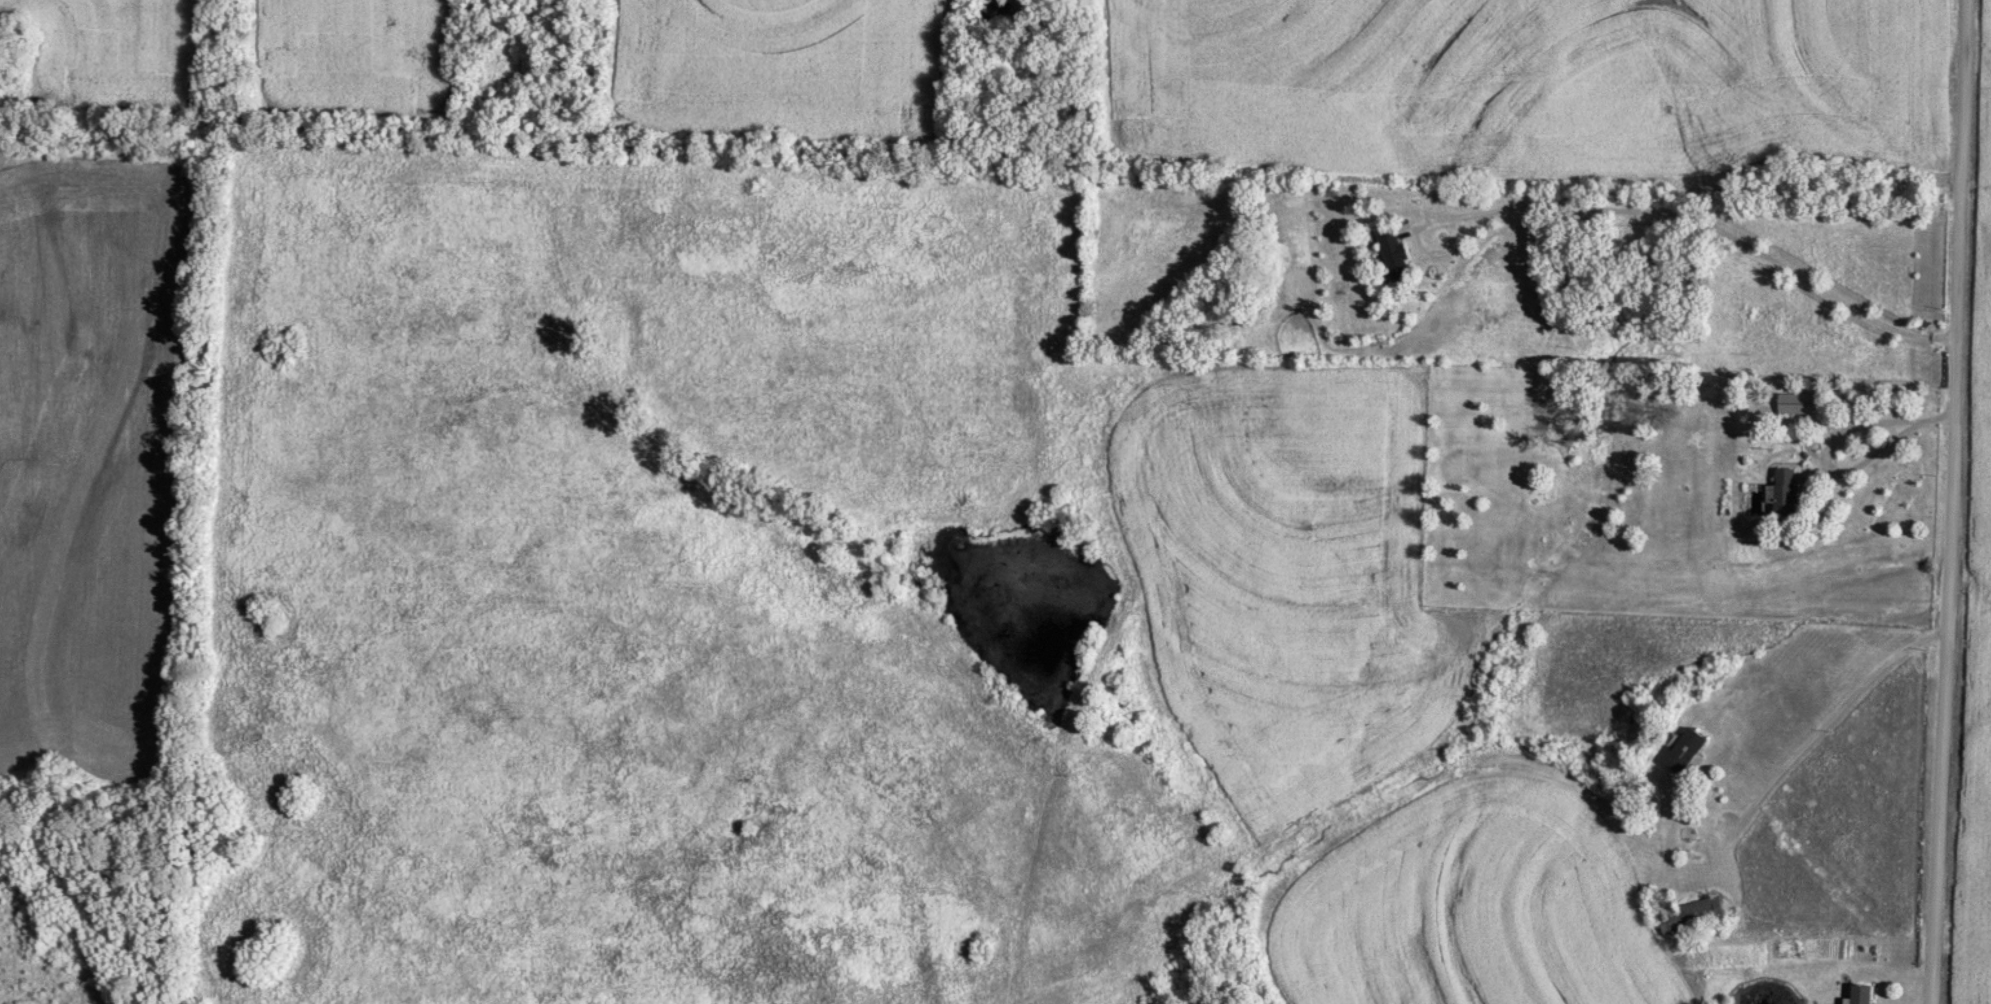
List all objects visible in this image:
road: (1646, 209)
building: (1397, 256)
building: (1796, 404)
road: (1933, 415)
road: (1862, 421)
building: (1788, 494)
road: (1950, 502)
road: (1821, 727)
building: (1688, 750)
building: (1694, 916)
building: (1863, 994)

